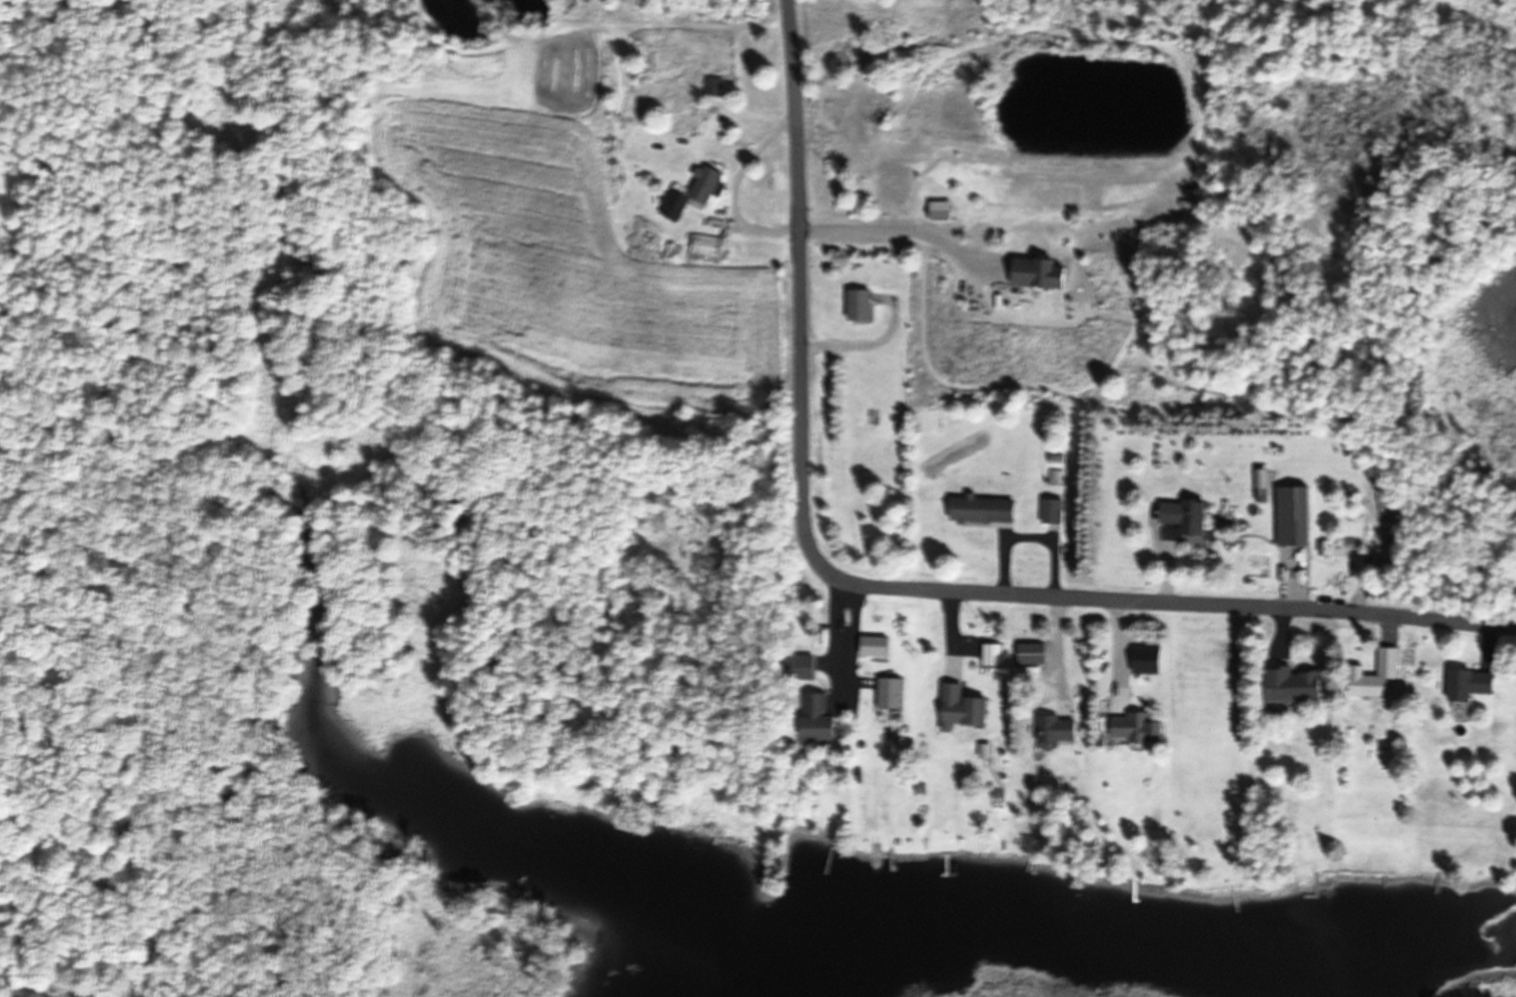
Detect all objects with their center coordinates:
building: (716, 86)
road: (1006, 176)
building: (694, 193)
building: (943, 210)
building: (705, 245)
building: (1041, 272)
building: (860, 304)
building: (985, 510)
building: (1053, 511)
building: (1296, 516)
building: (1185, 518)
road: (880, 585)
building: (993, 654)
building: (1033, 654)
building: (1148, 659)
building: (805, 666)
building: (1378, 675)
building: (1474, 685)
building: (1297, 686)
building: (891, 692)
building: (963, 708)
building: (819, 719)
building: (1058, 728)
building: (1138, 728)

